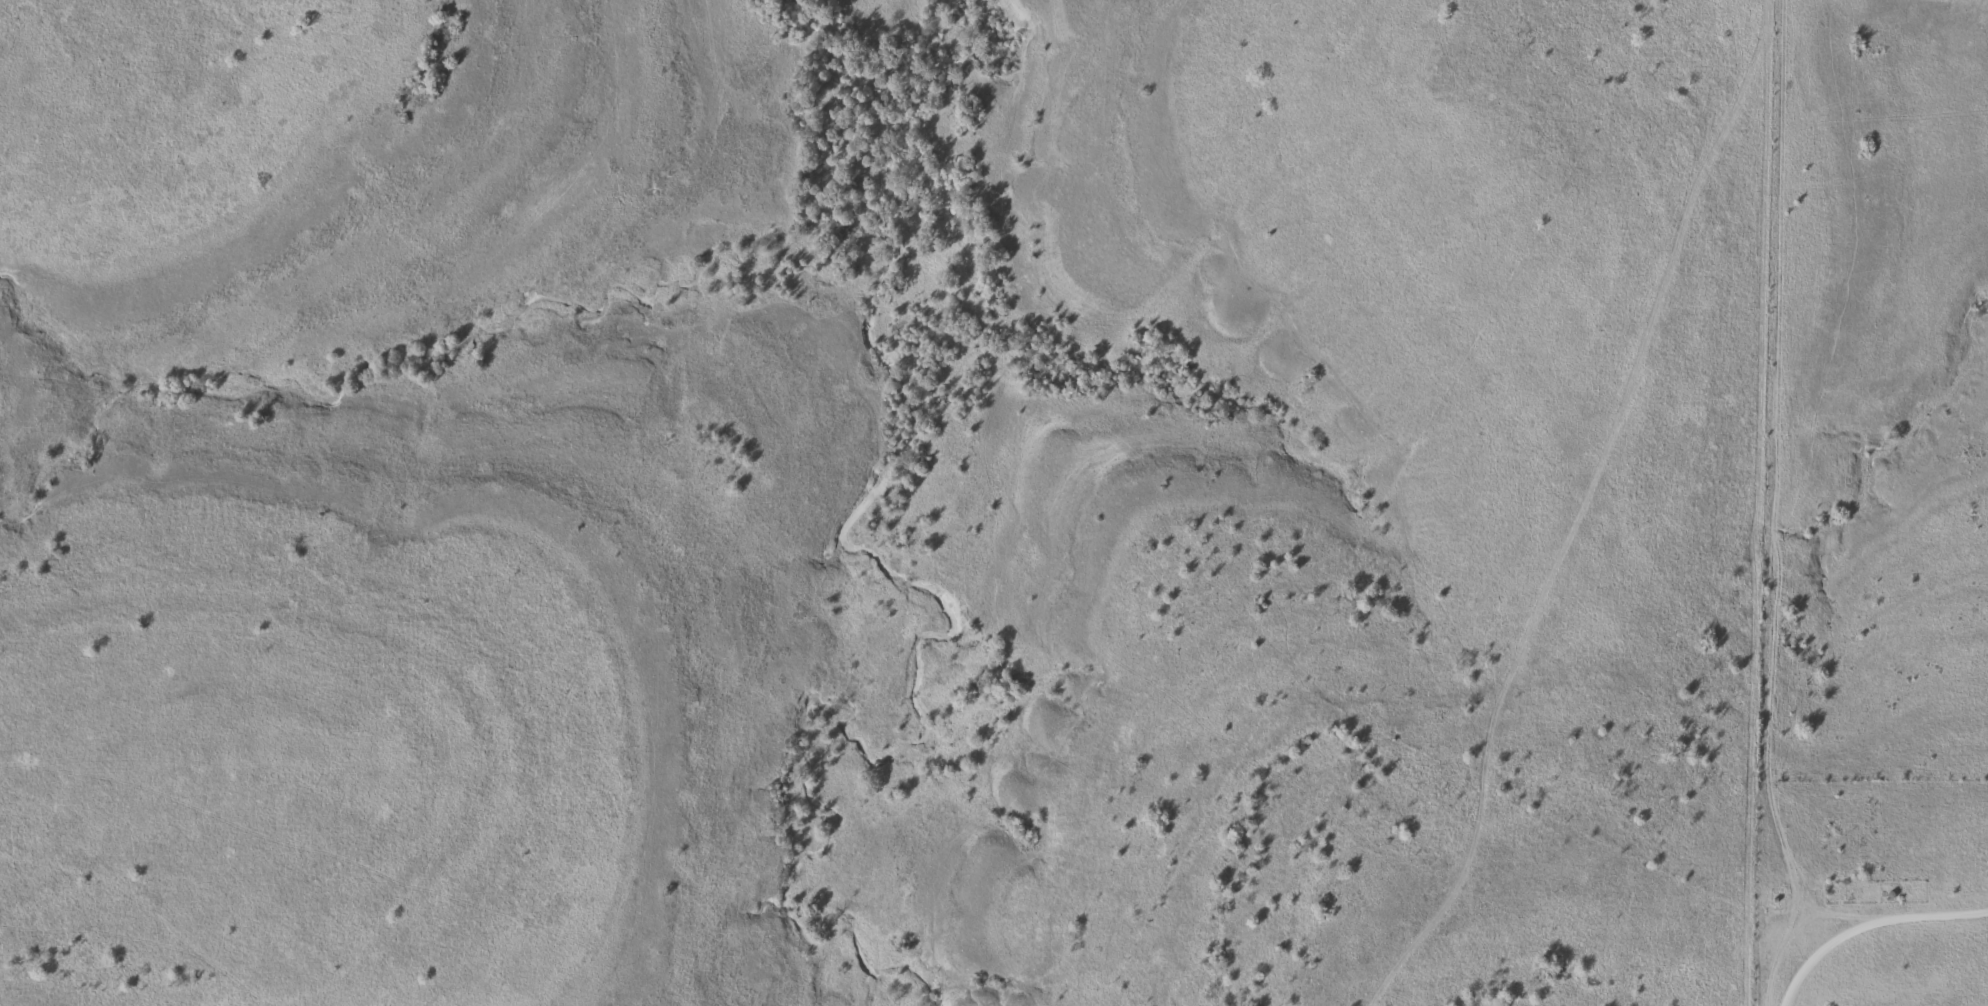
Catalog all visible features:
road: (1865, 926)

